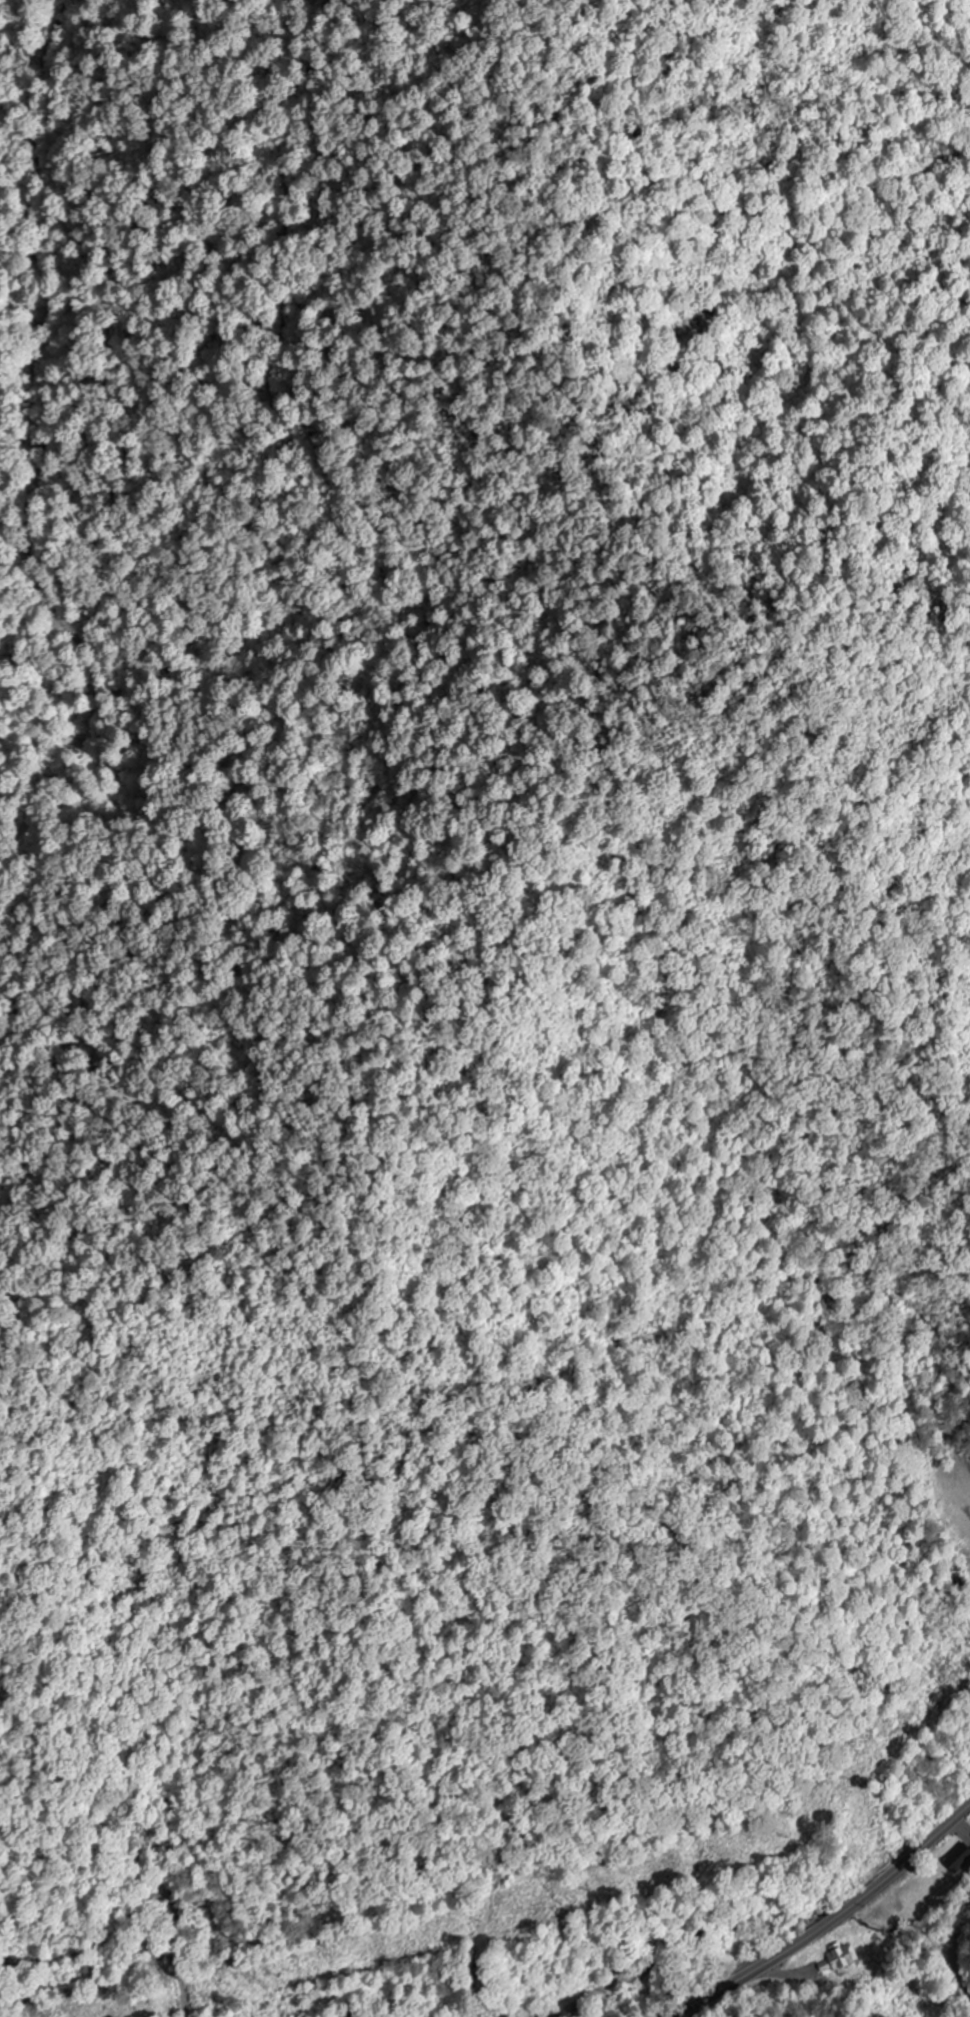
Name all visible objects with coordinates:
building: (966, 1558)
building: (958, 1859)
road: (828, 1923)
building: (841, 1959)

